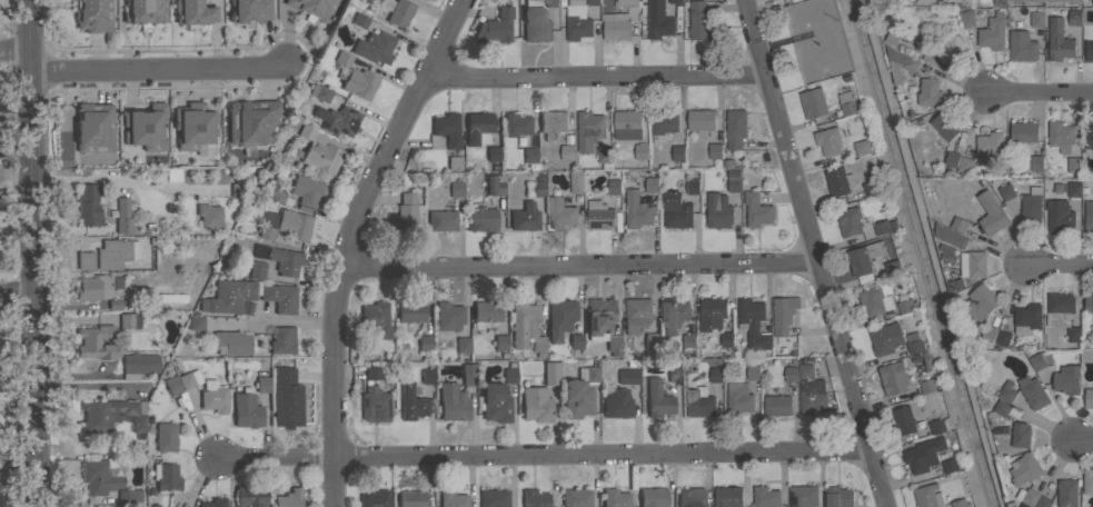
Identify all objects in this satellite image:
building: (675, 1)
building: (1071, 1)
building: (593, 2)
building: (627, 2)
building: (923, 2)
building: (1036, 2)
building: (552, 3)
building: (998, 3)
building: (382, 4)
building: (314, 9)
building: (145, 12)
building: (249, 12)
building: (193, 13)
building: (400, 13)
building: (92, 16)
building: (1074, 18)
building: (360, 20)
building: (697, 20)
building: (965, 20)
building: (1036, 20)
building: (658, 21)
building: (535, 22)
building: (498, 24)
building: (578, 24)
building: (617, 27)
building: (993, 33)
building: (1092, 33)
building: (1057, 40)
building: (375, 47)
building: (1021, 47)
road: (16, 50)
building: (951, 50)
building: (1089, 51)
building: (901, 64)
road: (158, 68)
road: (595, 74)
building: (355, 78)
building: (319, 91)
building: (930, 92)
road: (1041, 92)
building: (813, 103)
building: (847, 103)
building: (250, 120)
building: (338, 120)
building: (700, 122)
building: (552, 123)
building: (193, 125)
building: (516, 125)
building: (627, 126)
building: (663, 126)
building: (945, 126)
building: (145, 127)
building: (477, 127)
building: (93, 128)
building: (447, 129)
building: (735, 130)
building: (588, 131)
building: (1024, 132)
building: (1089, 136)
building: (1060, 137)
building: (828, 141)
building: (990, 145)
building: (862, 148)
building: (319, 150)
building: (715, 150)
building: (566, 152)
building: (640, 152)
building: (493, 153)
building: (678, 153)
building: (530, 155)
building: (604, 157)
building: (952, 159)
building: (1036, 163)
building: (1073, 165)
building: (965, 166)
building: (172, 175)
road: (126, 181)
building: (733, 181)
building: (838, 181)
building: (576, 182)
building: (493, 185)
building: (652, 185)
building: (614, 187)
building: (692, 187)
building: (538, 188)
building: (871, 188)
building: (237, 189)
building: (456, 189)
building: (1074, 189)
building: (307, 190)
building: (1006, 192)
building: (276, 193)
building: (88, 205)
building: (1031, 206)
building: (756, 209)
building: (636, 210)
building: (718, 210)
building: (560, 211)
building: (676, 211)
building: (404, 212)
building: (991, 213)
building: (209, 215)
building: (599, 215)
building: (1059, 216)
building: (122, 217)
building: (481, 217)
building: (525, 217)
building: (1089, 217)
building: (441, 219)
building: (848, 221)
building: (294, 225)
building: (958, 225)
building: (882, 228)
building: (267, 232)
building: (951, 236)
road: (351, 241)
road: (33, 252)
building: (116, 252)
road: (814, 254)
building: (85, 260)
building: (285, 260)
building: (864, 260)
building: (975, 264)
road: (1060, 264)
road: (579, 266)
building: (892, 268)
building: (257, 269)
building: (92, 286)
road: (17, 294)
building: (228, 296)
building: (280, 297)
building: (876, 299)
building: (981, 304)
building: (904, 305)
building: (1089, 305)
building: (1059, 309)
building: (410, 311)
building: (486, 314)
building: (711, 314)
building: (636, 315)
building: (674, 315)
building: (783, 315)
building: (448, 316)
building: (599, 316)
building: (376, 318)
building: (560, 318)
road: (274, 319)
building: (1026, 319)
building: (129, 320)
building: (196, 322)
building: (753, 324)
building: (526, 327)
building: (988, 334)
building: (1073, 335)
building: (726, 339)
building: (886, 339)
building: (1002, 339)
building: (281, 340)
building: (576, 340)
building: (650, 340)
building: (98, 341)
building: (500, 341)
building: (231, 342)
building: (425, 342)
building: (463, 345)
building: (614, 345)
building: (688, 345)
building: (915, 347)
building: (1086, 356)
building: (1040, 360)
building: (139, 365)
building: (372, 371)
building: (805, 371)
building: (550, 372)
building: (753, 372)
building: (468, 374)
building: (674, 374)
building: (791, 374)
building: (715, 375)
building: (427, 376)
building: (628, 376)
building: (190, 378)
building: (893, 379)
building: (1066, 380)
building: (261, 384)
building: (172, 386)
building: (927, 386)
building: (579, 392)
building: (1006, 392)
building: (1033, 392)
building: (213, 397)
building: (813, 397)
building: (287, 398)
building: (497, 398)
building: (657, 398)
building: (1089, 398)
building: (738, 399)
building: (414, 401)
building: (453, 401)
building: (617, 402)
building: (776, 402)
building: (535, 404)
building: (375, 405)
building: (700, 406)
building: (1002, 408)
building: (246, 410)
building: (96, 417)
building: (903, 420)
building: (937, 427)
building: (1021, 435)
building: (166, 436)
road: (1083, 440)
road: (545, 455)
building: (920, 459)
building: (951, 466)
building: (1025, 469)
building: (166, 476)
building: (98, 477)
building: (1089, 481)
building: (1067, 493)
building: (129, 495)
building: (250, 496)
building: (803, 496)
building: (927, 496)
building: (576, 497)
building: (653, 497)
building: (690, 497)
building: (728, 497)
building: (765, 497)
building: (838, 497)
building: (1027, 497)
building: (289, 498)
building: (374, 498)
building: (411, 498)
building: (494, 498)
building: (535, 498)
building: (615, 498)
building: (453, 499)
building: (1043, 501)
building: (213, 503)
building: (960, 503)
building: (950, 505)

